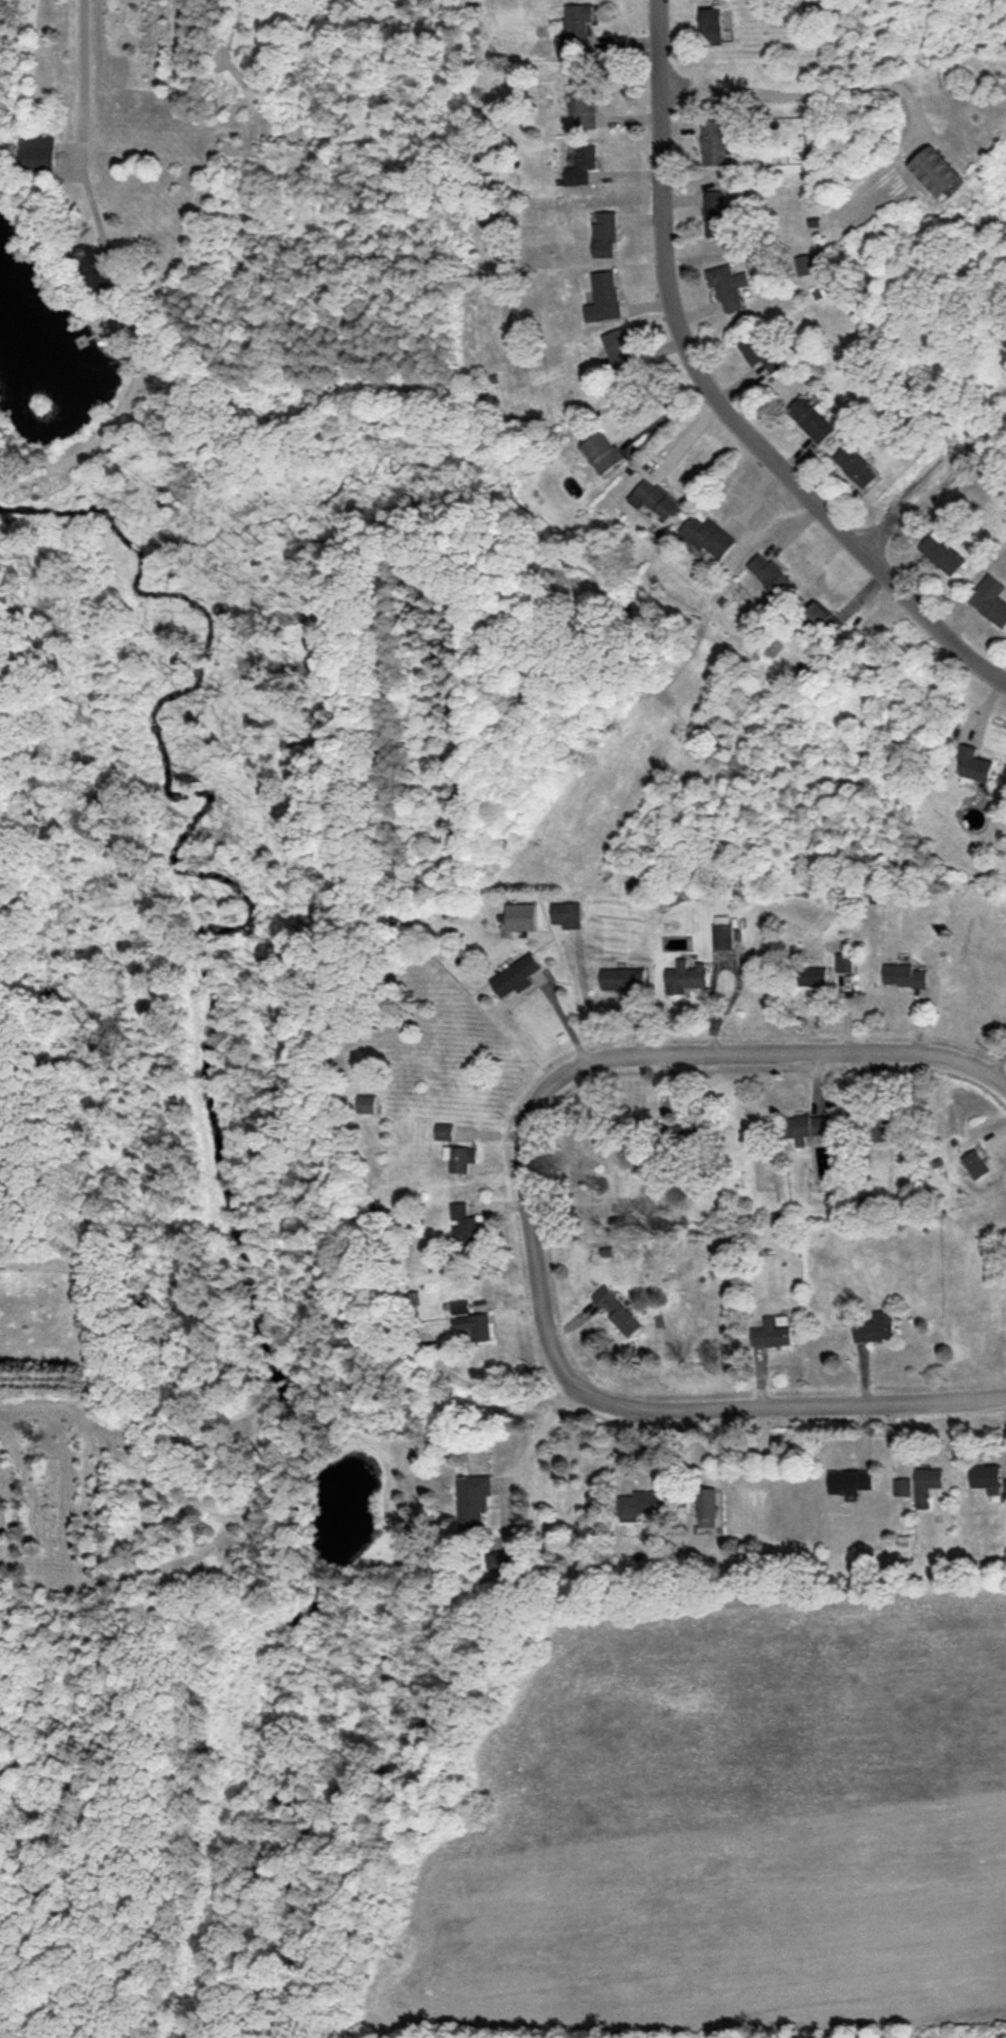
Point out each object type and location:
building: (712, 26)
building: (577, 28)
road: (81, 79)
road: (804, 92)
building: (583, 104)
building: (716, 144)
building: (39, 153)
building: (583, 166)
building: (935, 172)
building: (716, 215)
building: (605, 235)
building: (806, 265)
building: (96, 267)
building: (728, 286)
building: (604, 298)
building: (622, 351)
building: (758, 351)
road: (715, 395)
road: (662, 411)
building: (812, 420)
road: (684, 440)
building: (604, 452)
building: (855, 465)
building: (657, 500)
building: (710, 537)
building: (943, 553)
building: (771, 573)
building: (990, 599)
building: (820, 615)
building: (975, 764)
building: (567, 915)
building: (522, 917)
building: (723, 932)
building: (845, 963)
building: (517, 976)
building: (905, 976)
building: (814, 977)
building: (686, 978)
building: (624, 979)
road: (777, 1056)
road: (997, 1063)
building: (368, 1104)
building: (882, 1127)
building: (805, 1128)
building: (444, 1131)
building: (461, 1158)
building: (976, 1165)
building: (465, 1227)
road: (533, 1252)
building: (616, 1311)
building: (471, 1321)
building: (876, 1328)
building: (772, 1332)
road: (805, 1406)
road: (539, 1434)
building: (986, 1478)
building: (850, 1481)
building: (927, 1485)
building: (902, 1487)
building: (1005, 1488)
building: (475, 1500)
building: (707, 1503)
building: (639, 1505)
building: (504, 1560)

